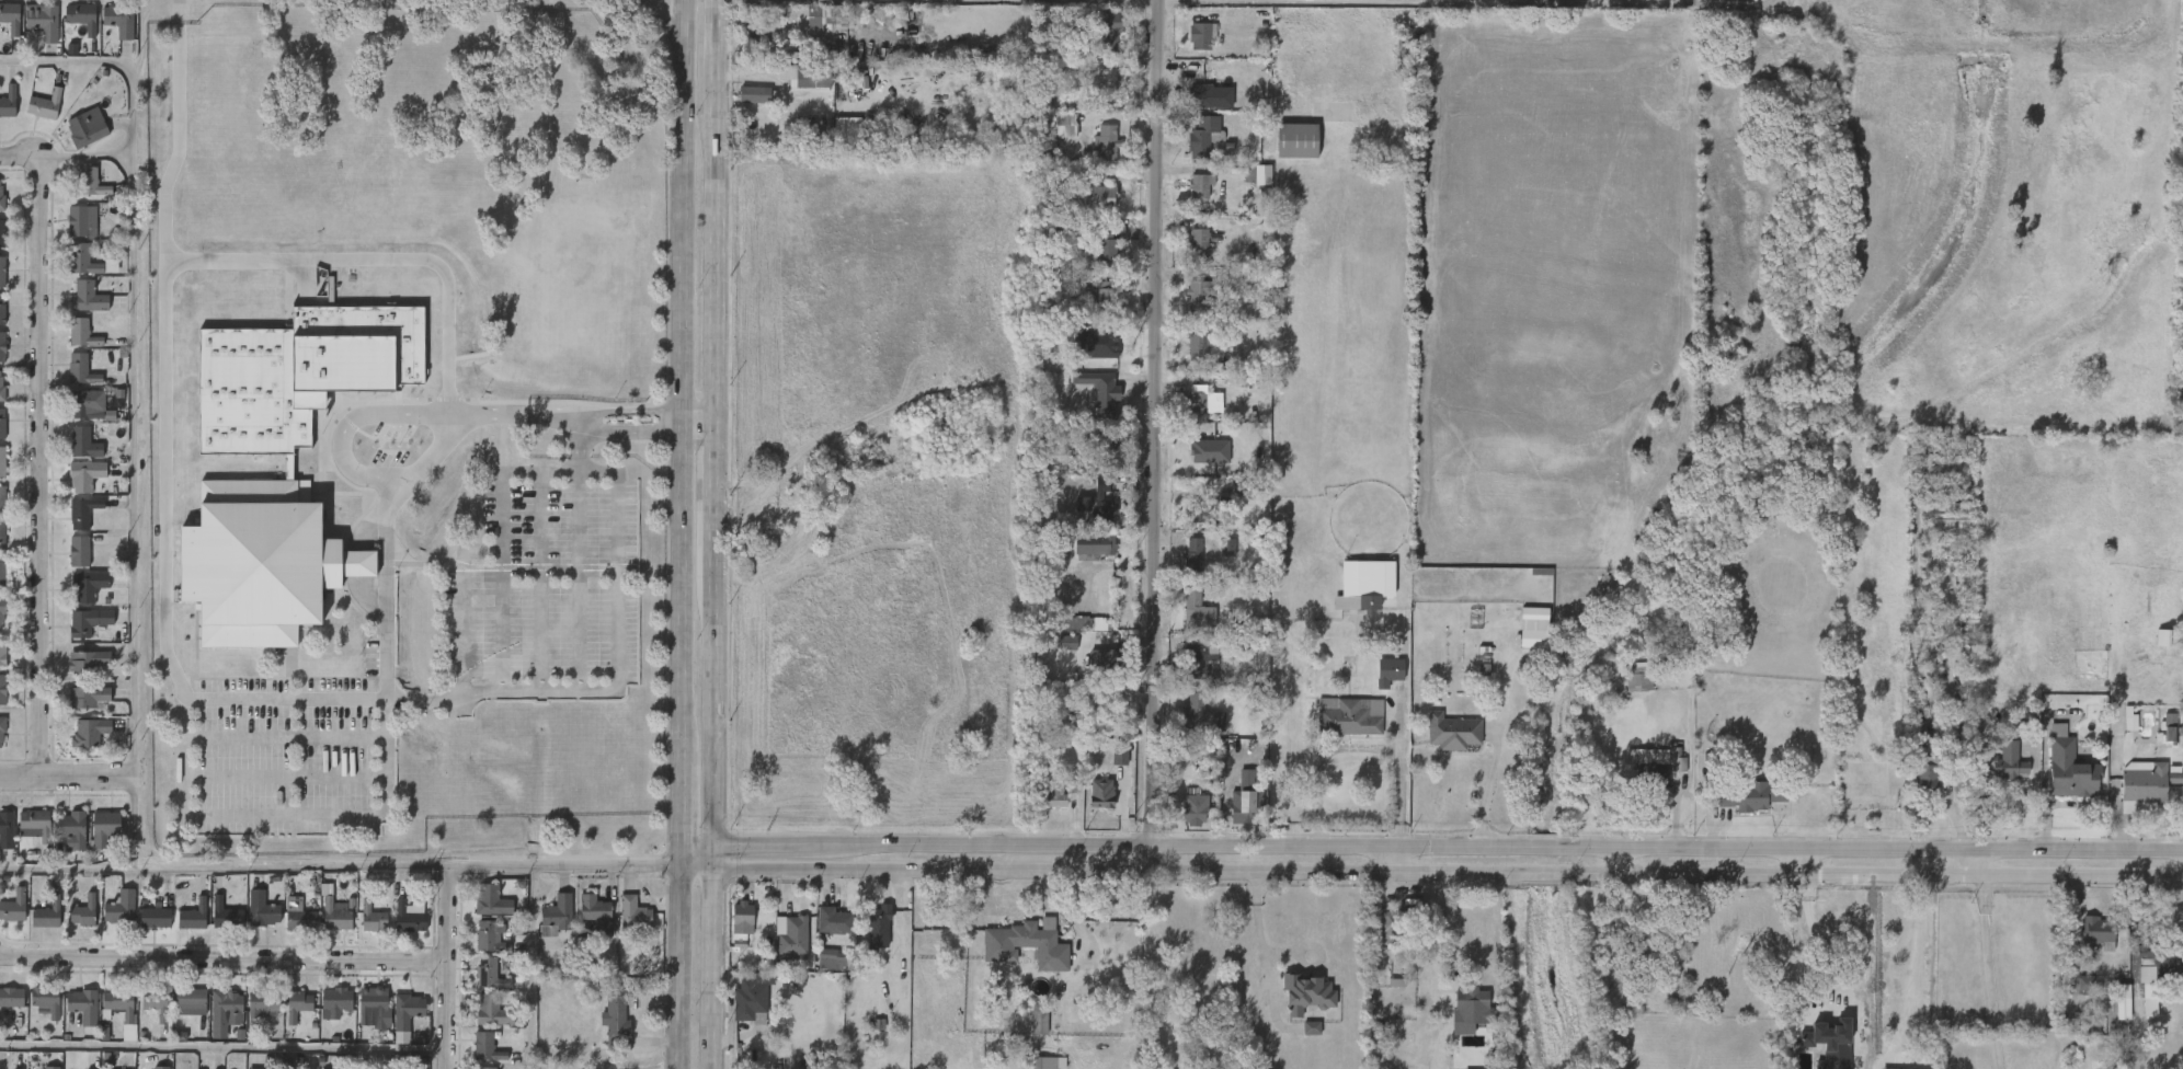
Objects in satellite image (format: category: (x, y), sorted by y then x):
road: (1510, 1)
building: (1724, 1)
road: (1731, 3)
building: (81, 16)
building: (809, 16)
building: (11, 18)
building: (119, 19)
building: (44, 22)
building: (751, 24)
road: (661, 25)
building: (70, 28)
building: (801, 30)
building: (1109, 30)
building: (107, 31)
building: (3, 32)
building: (1199, 36)
building: (1097, 42)
road: (715, 47)
building: (1187, 48)
building: (805, 76)
building: (793, 88)
building: (754, 95)
building: (1201, 95)
building: (8, 101)
building: (45, 105)
building: (744, 106)
building: (1197, 107)
building: (33, 117)
building: (85, 130)
building: (1053, 131)
building: (1207, 140)
building: (1295, 141)
building: (1105, 145)
building: (1283, 152)
road: (80, 156)
building: (1093, 156)
building: (91, 182)
building: (1199, 186)
building: (79, 194)
building: (1188, 196)
building: (1, 198)
building: (1098, 198)
road: (679, 203)
building: (1087, 208)
building: (79, 223)
building: (2, 233)
building: (69, 233)
building: (1198, 240)
building: (1106, 248)
building: (1186, 251)
road: (379, 258)
building: (81, 260)
road: (713, 263)
building: (1, 272)
building: (72, 273)
building: (1198, 295)
building: (84, 296)
building: (1101, 299)
building: (1187, 307)
building: (76, 309)
building: (2, 310)
building: (79, 332)
building: (70, 345)
building: (1197, 345)
building: (1, 346)
building: (1186, 357)
road: (130, 360)
building: (81, 369)
building: (69, 381)
building: (3, 387)
building: (1099, 390)
building: (1200, 399)
building: (1087, 402)
building: (90, 405)
road: (695, 406)
building: (1189, 412)
building: (77, 416)
road: (582, 417)
road: (677, 418)
building: (2, 423)
road: (343, 428)
road: (695, 432)
road: (1163, 436)
building: (84, 442)
building: (1102, 447)
road: (41, 451)
building: (71, 455)
building: (0, 461)
building: (289, 465)
building: (85, 475)
building: (73, 487)
road: (713, 498)
building: (0, 501)
building: (1098, 503)
building: (773, 504)
building: (82, 513)
building: (1202, 513)
building: (1066, 516)
building: (1091, 517)
building: (1948, 517)
building: (70, 524)
building: (1936, 534)
road: (499, 536)
building: (1, 537)
building: (1091, 545)
building: (79, 551)
building: (1082, 558)
building: (1189, 558)
building: (1214, 559)
building: (67, 563)
building: (1180, 568)
building: (1, 575)
road: (380, 582)
building: (1363, 584)
building: (89, 585)
building: (77, 597)
road: (675, 598)
building: (1, 613)
building: (1197, 618)
building: (1184, 620)
building: (85, 621)
building: (1521, 627)
road: (461, 628)
building: (76, 633)
building: (1073, 635)
building: (2171, 639)
building: (1520, 651)
building: (3, 652)
building: (2153, 653)
building: (1053, 654)
building: (84, 660)
building: (1196, 662)
building: (1090, 670)
building: (76, 671)
building: (1387, 671)
building: (1375, 683)
building: (1, 690)
building: (1625, 694)
building: (84, 697)
road: (712, 706)
building: (1105, 706)
building: (76, 709)
building: (1348, 716)
building: (1202, 719)
building: (1188, 725)
building: (2, 727)
building: (2171, 728)
building: (2115, 729)
building: (87, 732)
building: (1452, 732)
building: (2156, 738)
building: (1439, 744)
road: (1360, 747)
building: (2003, 758)
building: (1107, 767)
building: (2070, 767)
road: (1491, 771)
building: (1664, 772)
building: (1990, 774)
building: (1925, 775)
road: (65, 778)
building: (2056, 779)
building: (1635, 782)
building: (2146, 783)
building: (2176, 783)
building: (1912, 790)
building: (1234, 791)
building: (1104, 794)
building: (1655, 794)
building: (1753, 796)
building: (1052, 797)
building: (1245, 797)
building: (1088, 804)
building: (1041, 807)
building: (1193, 814)
road: (673, 815)
road: (198, 816)
building: (1230, 818)
building: (1181, 820)
building: (35, 824)
building: (104, 827)
building: (7, 828)
building: (71, 829)
building: (23, 836)
building: (92, 839)
building: (61, 841)
road: (1448, 848)
road: (693, 857)
road: (1032, 859)
road: (713, 861)
road: (1399, 861)
road: (1618, 863)
road: (1795, 864)
road: (1979, 864)
road: (67, 866)
road: (358, 867)
road: (693, 870)
road: (1448, 875)
building: (492, 900)
building: (13, 907)
building: (121, 908)
building: (263, 909)
building: (83, 911)
building: (479, 911)
building: (47, 913)
building: (226, 913)
building: (298, 913)
building: (594, 913)
building: (334, 915)
building: (408, 915)
building: (631, 915)
building: (156, 916)
building: (193, 916)
building: (372, 916)
building: (555, 916)
road: (713, 916)
building: (743, 917)
building: (71, 920)
building: (108, 920)
building: (835, 920)
building: (250, 921)
building: (321, 922)
road: (1259, 923)
building: (583, 924)
building: (621, 924)
building: (214, 926)
building: (34, 927)
building: (181, 927)
building: (286, 927)
building: (877, 927)
building: (1404, 927)
building: (141, 928)
building: (397, 928)
road: (1452, 928)
building: (359, 929)
building: (730, 929)
building: (2098, 930)
building: (821, 932)
building: (795, 935)
building: (1021, 935)
building: (490, 936)
building: (866, 936)
building: (1644, 942)
building: (2083, 942)
building: (778, 949)
building: (476, 951)
building: (1014, 955)
building: (835, 958)
road: (224, 959)
building: (2155, 962)
building: (2182, 963)
road: (675, 966)
road: (448, 968)
road: (528, 968)
road: (1859, 969)
building: (819, 970)
building: (490, 974)
road: (1985, 974)
building: (476, 985)
building: (2134, 990)
building: (1305, 995)
building: (2069, 995)
building: (10, 996)
building: (46, 999)
building: (747, 1000)
building: (336, 1001)
building: (191, 1002)
building: (118, 1004)
building: (155, 1004)
building: (261, 1004)
building: (297, 1004)
building: (1293, 1004)
building: (1473, 1004)
building: (83, 1005)
building: (224, 1007)
building: (374, 1008)
building: (5, 1009)
building: (492, 1011)
building: (34, 1012)
building: (2108, 1012)
building: (178, 1013)
building: (322, 1013)
road: (712, 1013)
building: (407, 1014)
building: (70, 1016)
building: (285, 1016)
building: (144, 1018)
building: (362, 1018)
building: (617, 1018)
building: (1459, 1018)
building: (249, 1020)
building: (479, 1022)
building: (213, 1023)
building: (1038, 1026)
building: (1818, 1026)
building: (393, 1027)
building: (603, 1028)
building: (1026, 1030)
building: (116, 1036)
building: (1298, 1039)
road: (225, 1046)
building: (487, 1047)
building: (1042, 1064)
building: (161, 1067)
building: (2182, 1067)
building: (52, 1068)
building: (253, 1068)
building: (487, 1068)

